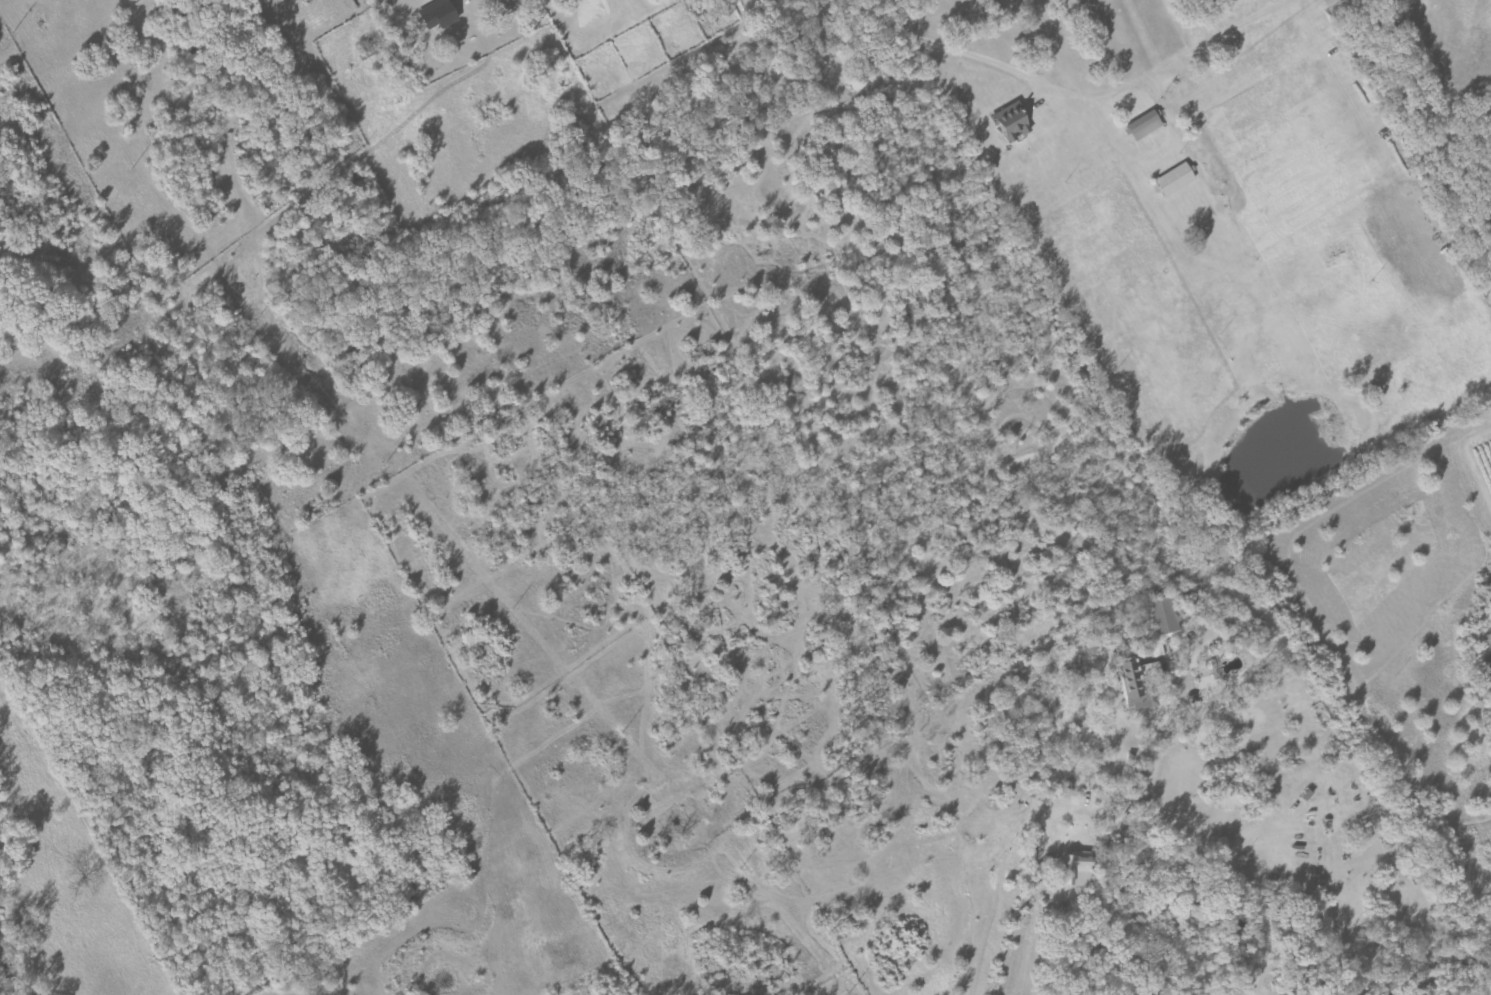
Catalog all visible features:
building: (442, 18)
building: (1008, 124)
building: (1141, 127)
building: (1173, 180)
road: (405, 368)
building: (1161, 617)
building: (1158, 647)
building: (1135, 685)
building: (1030, 858)
building: (1072, 870)

